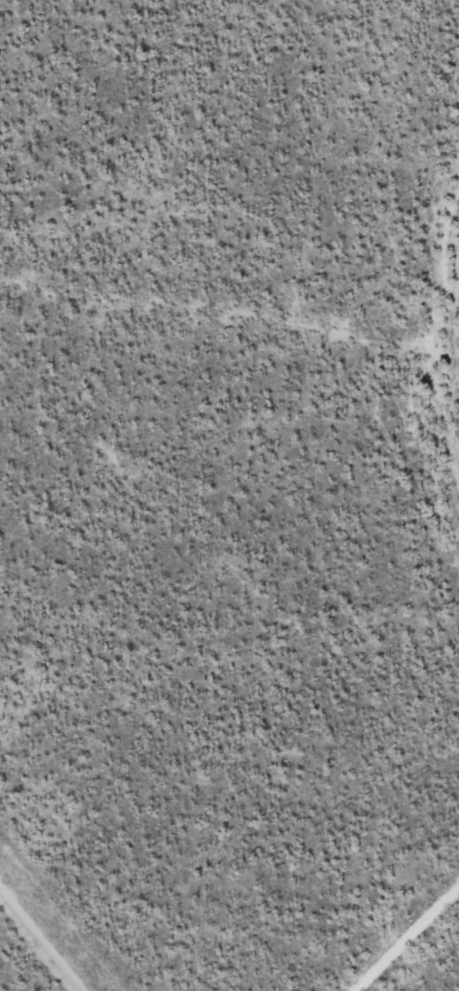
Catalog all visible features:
road: (423, 956)

